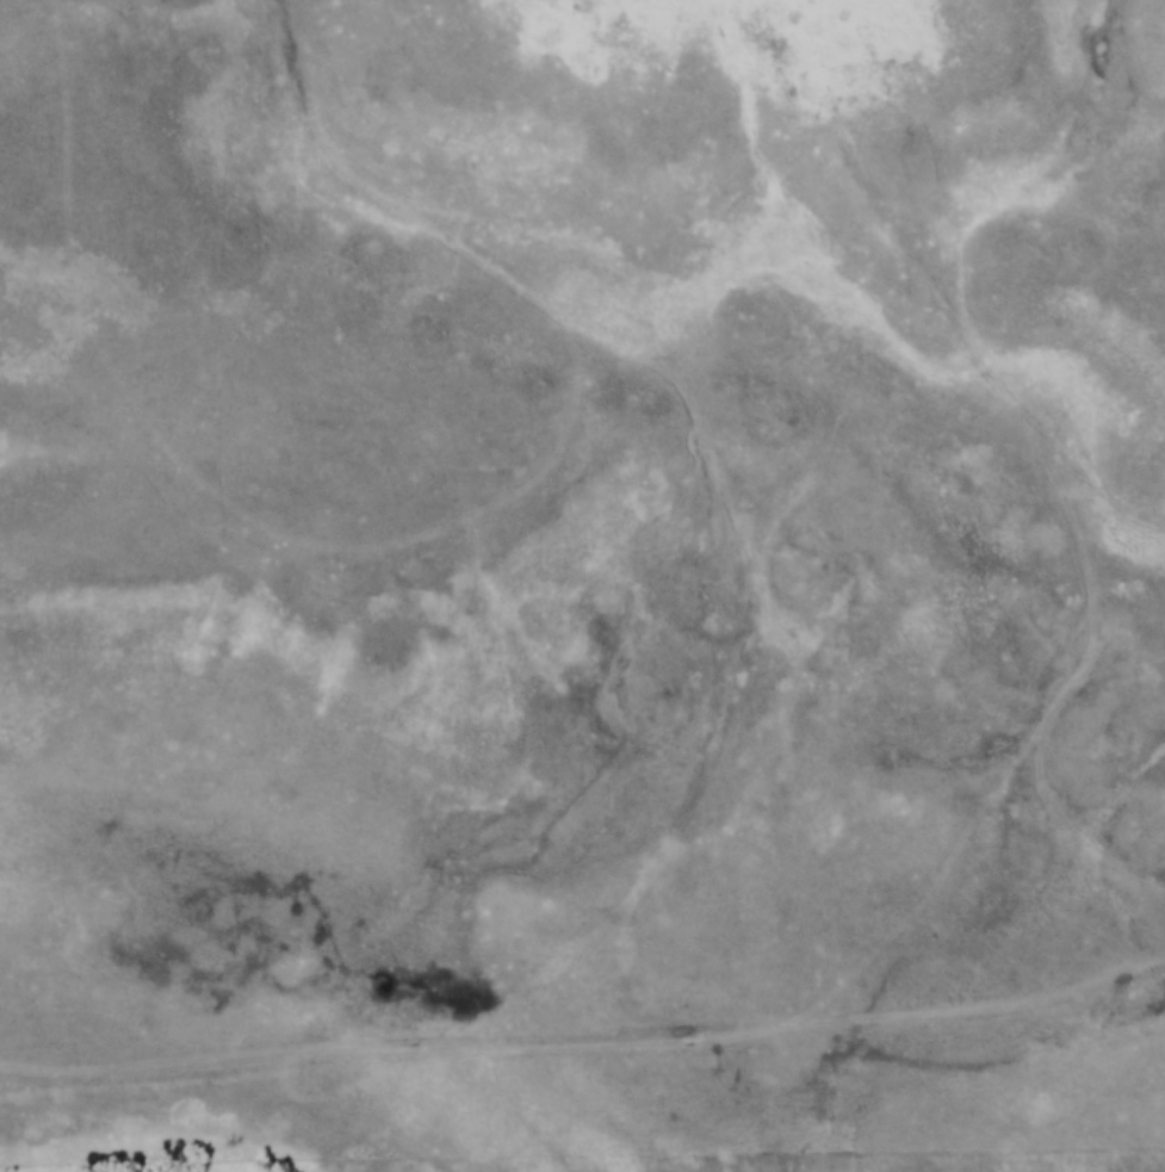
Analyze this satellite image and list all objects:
road: (584, 1034)

